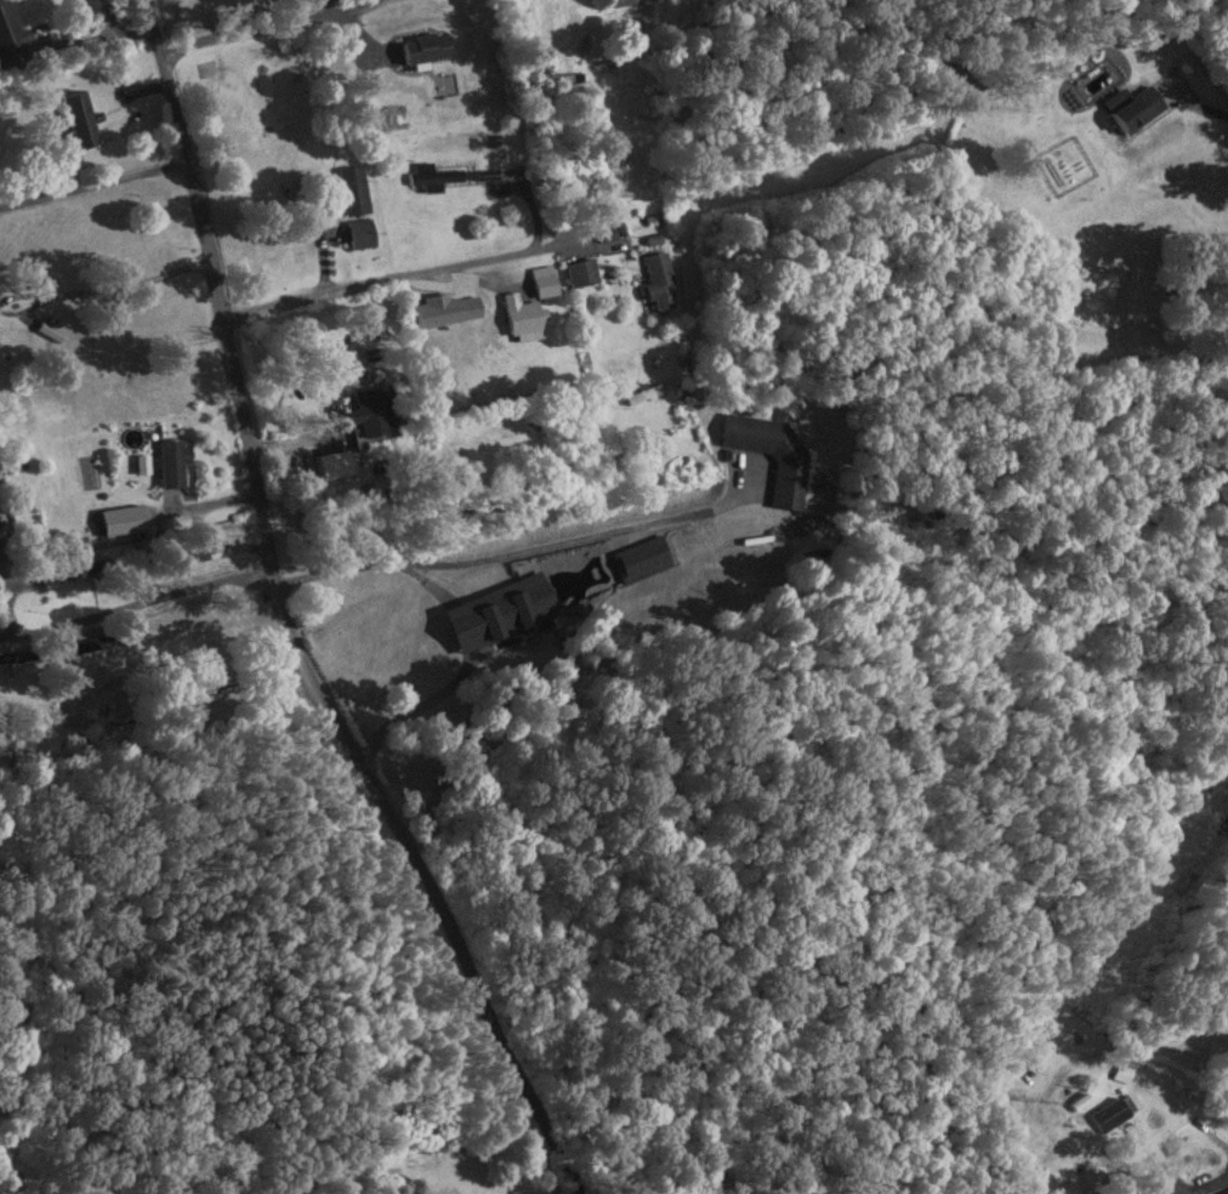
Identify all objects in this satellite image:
building: (621, 5)
road: (280, 25)
building: (8, 27)
building: (427, 50)
road: (1209, 109)
building: (1141, 114)
building: (80, 121)
building: (437, 178)
building: (353, 193)
building: (362, 237)
building: (585, 274)
road: (129, 283)
road: (368, 284)
building: (663, 284)
building: (533, 308)
building: (443, 320)
building: (483, 383)
building: (376, 414)
building: (176, 465)
building: (789, 482)
building: (749, 544)
road: (506, 556)
road: (226, 585)
building: (507, 610)
road: (291, 619)
building: (1114, 1115)
building: (1224, 1193)

